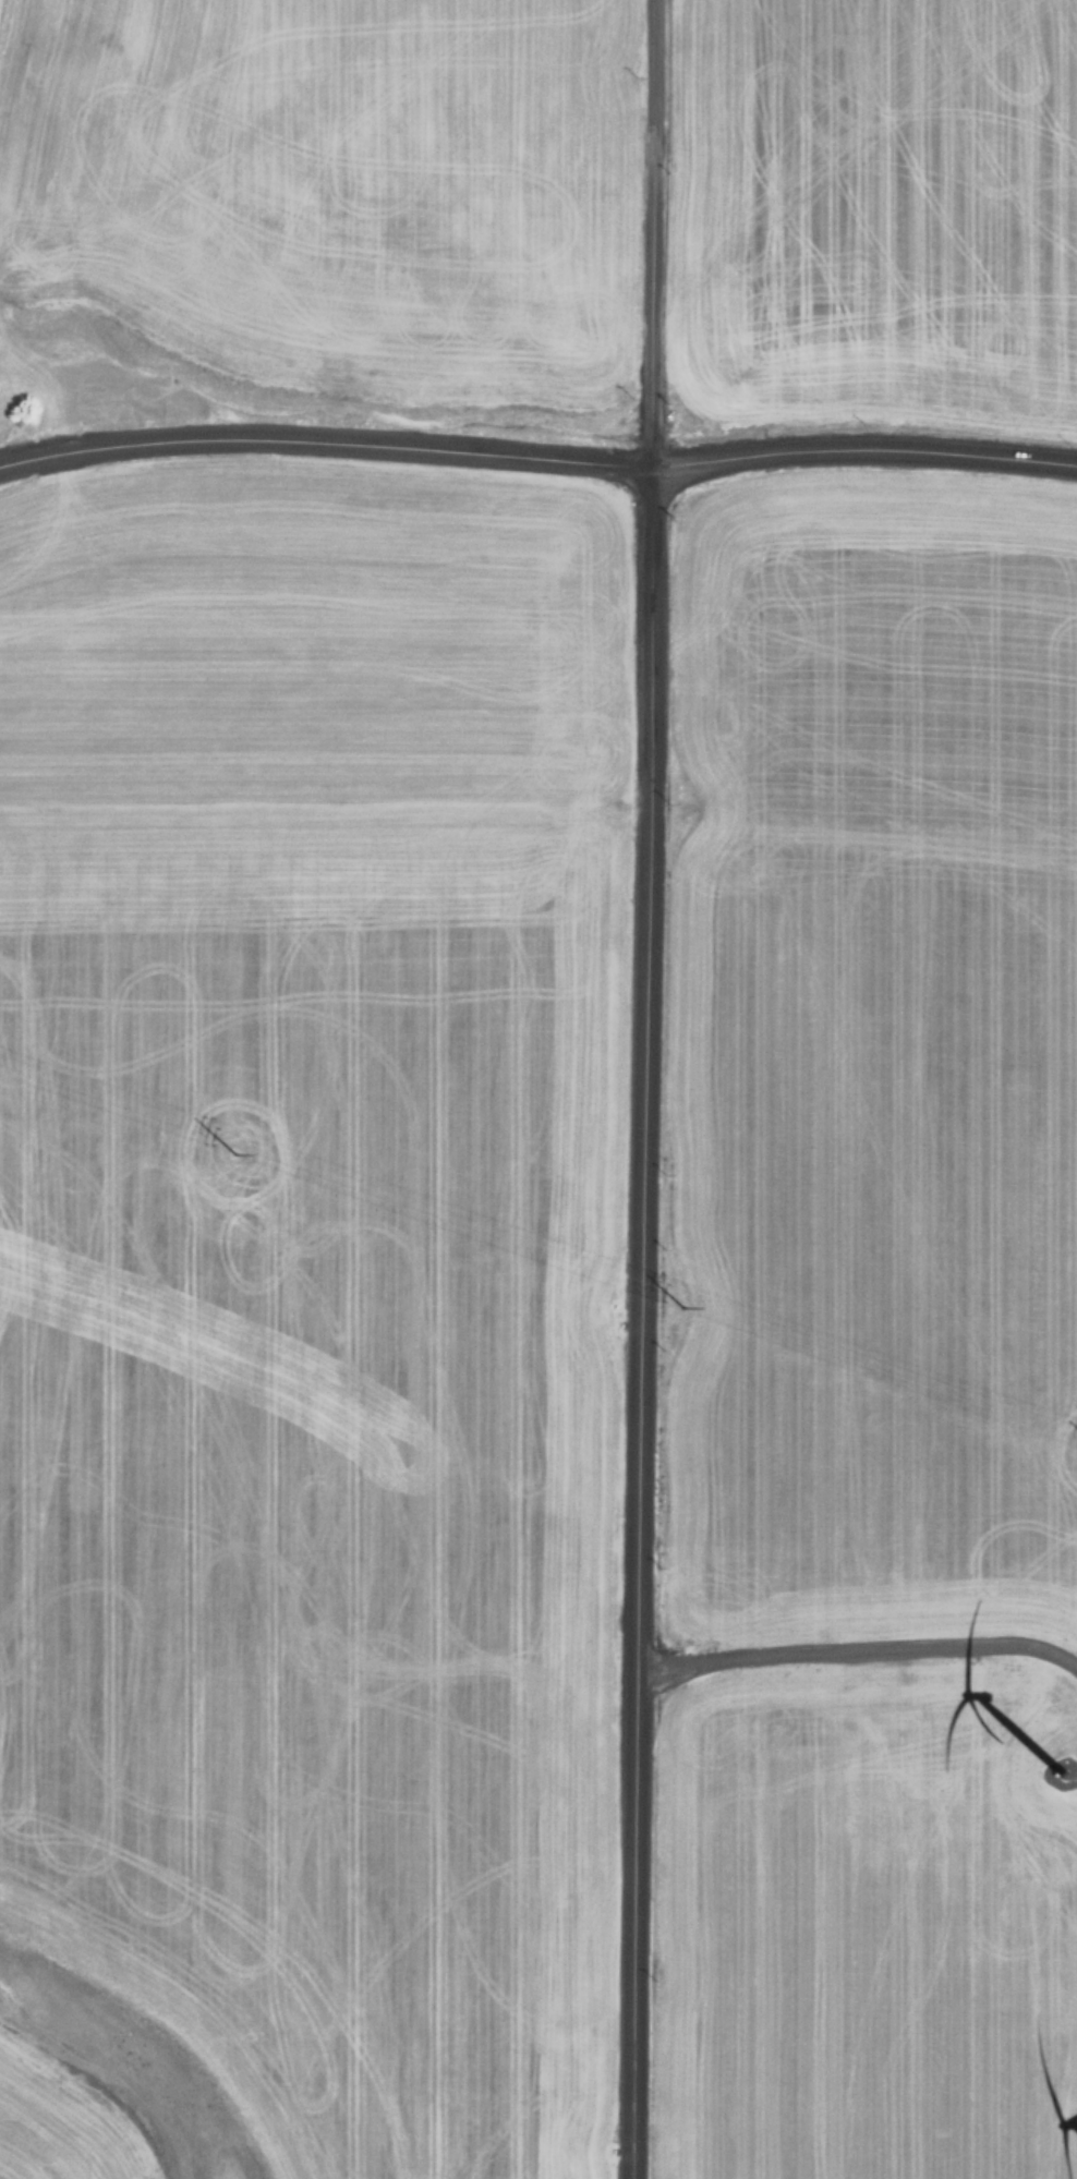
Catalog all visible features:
road: (649, 228)
road: (861, 432)
road: (323, 436)
power tower: (230, 1149)
power tower: (678, 1300)
road: (638, 1317)
road: (857, 1633)

